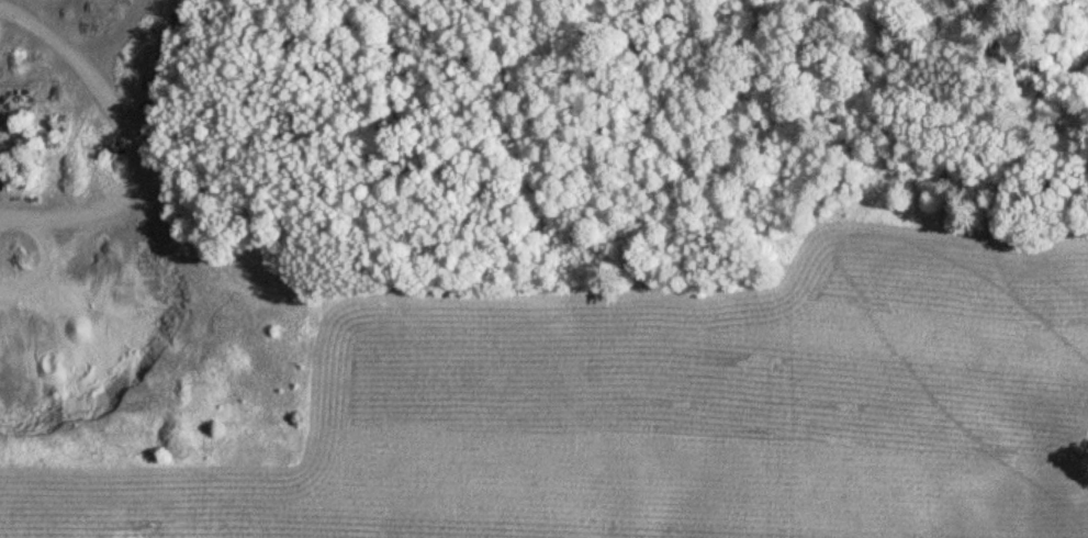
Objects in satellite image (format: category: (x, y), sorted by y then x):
building: (112, 26)

